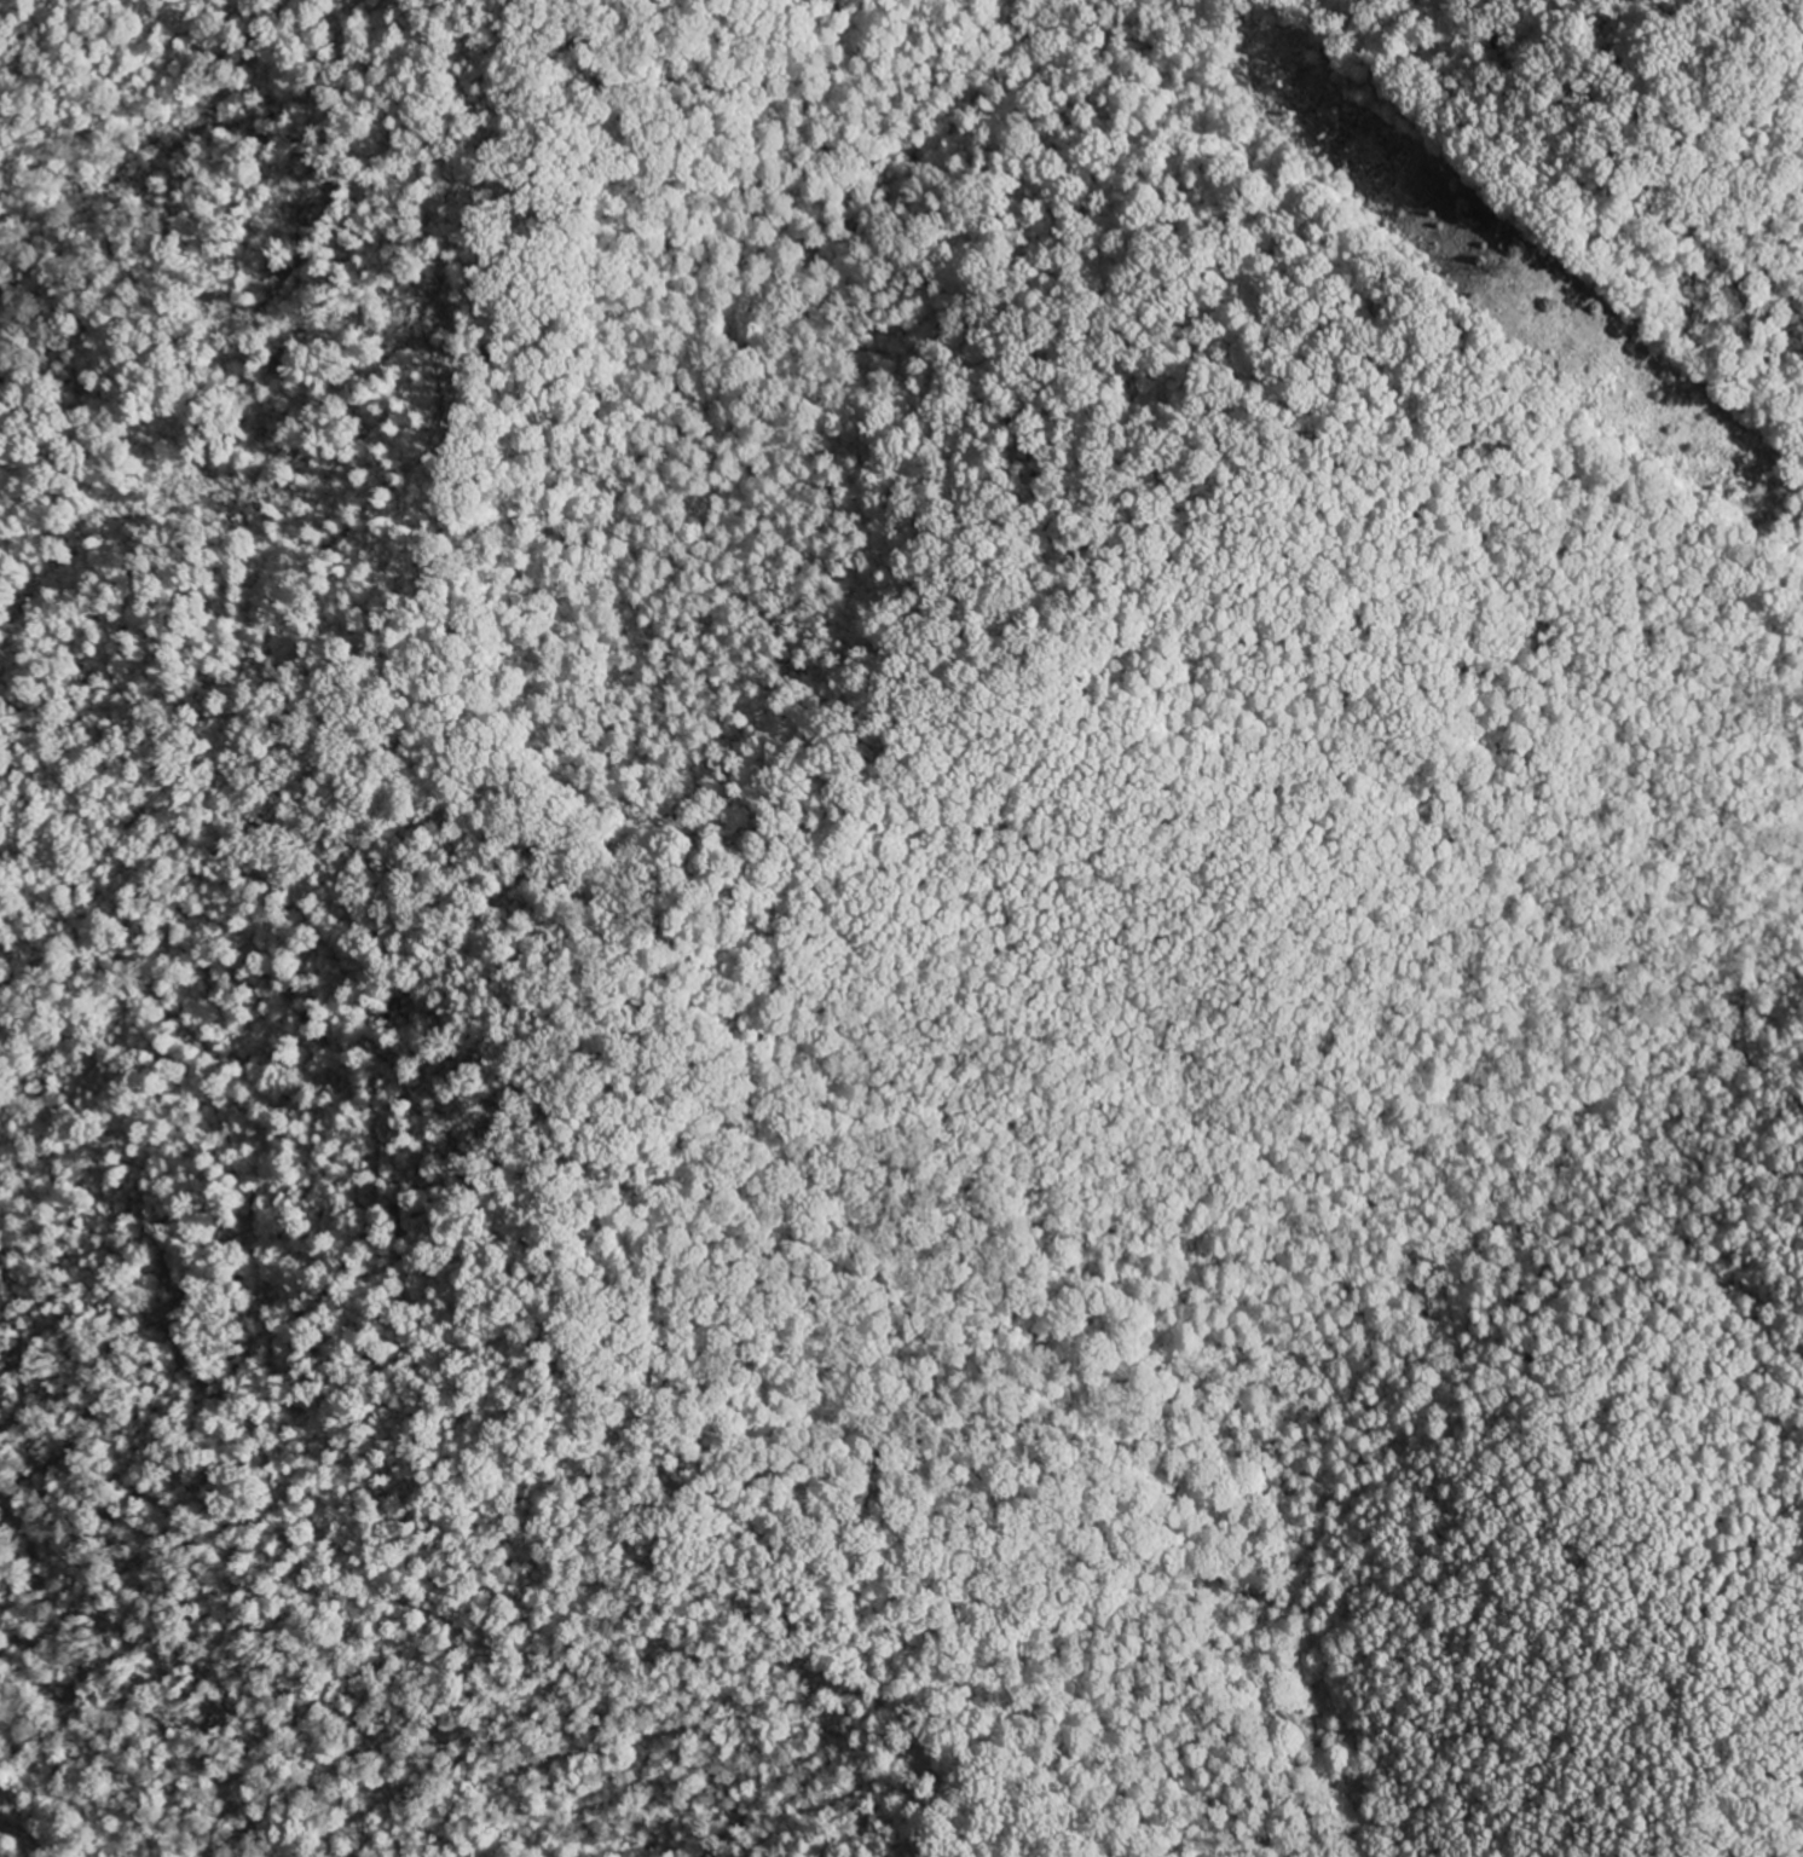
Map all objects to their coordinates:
power tower: (1497, 271)

